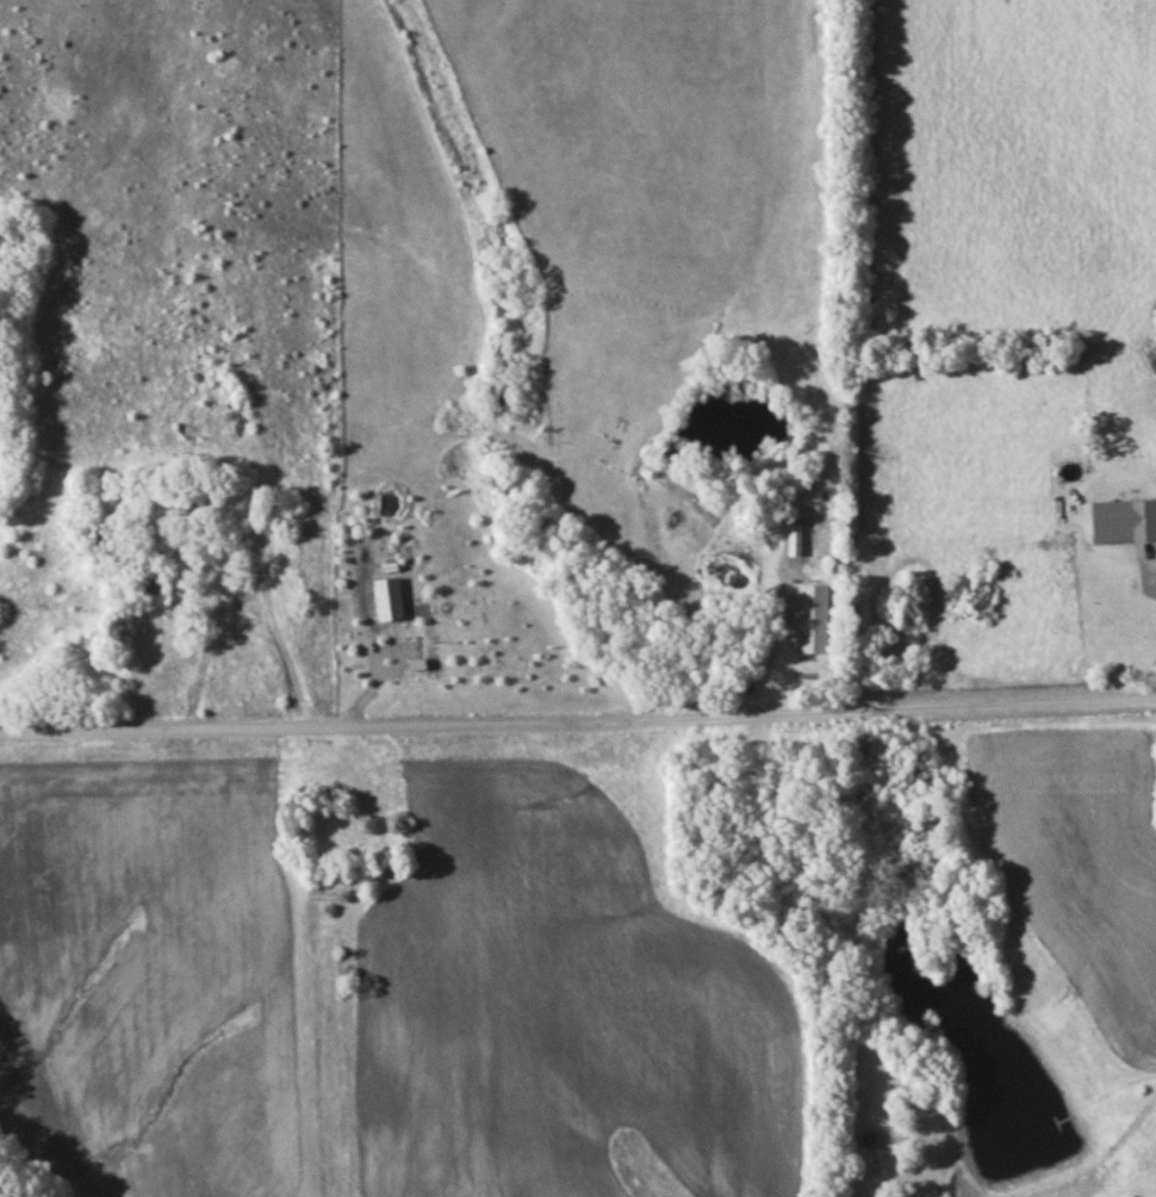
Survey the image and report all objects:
building: (193, 510)
building: (160, 588)
road: (240, 606)
building: (1146, 616)
building: (819, 622)
road: (578, 722)

